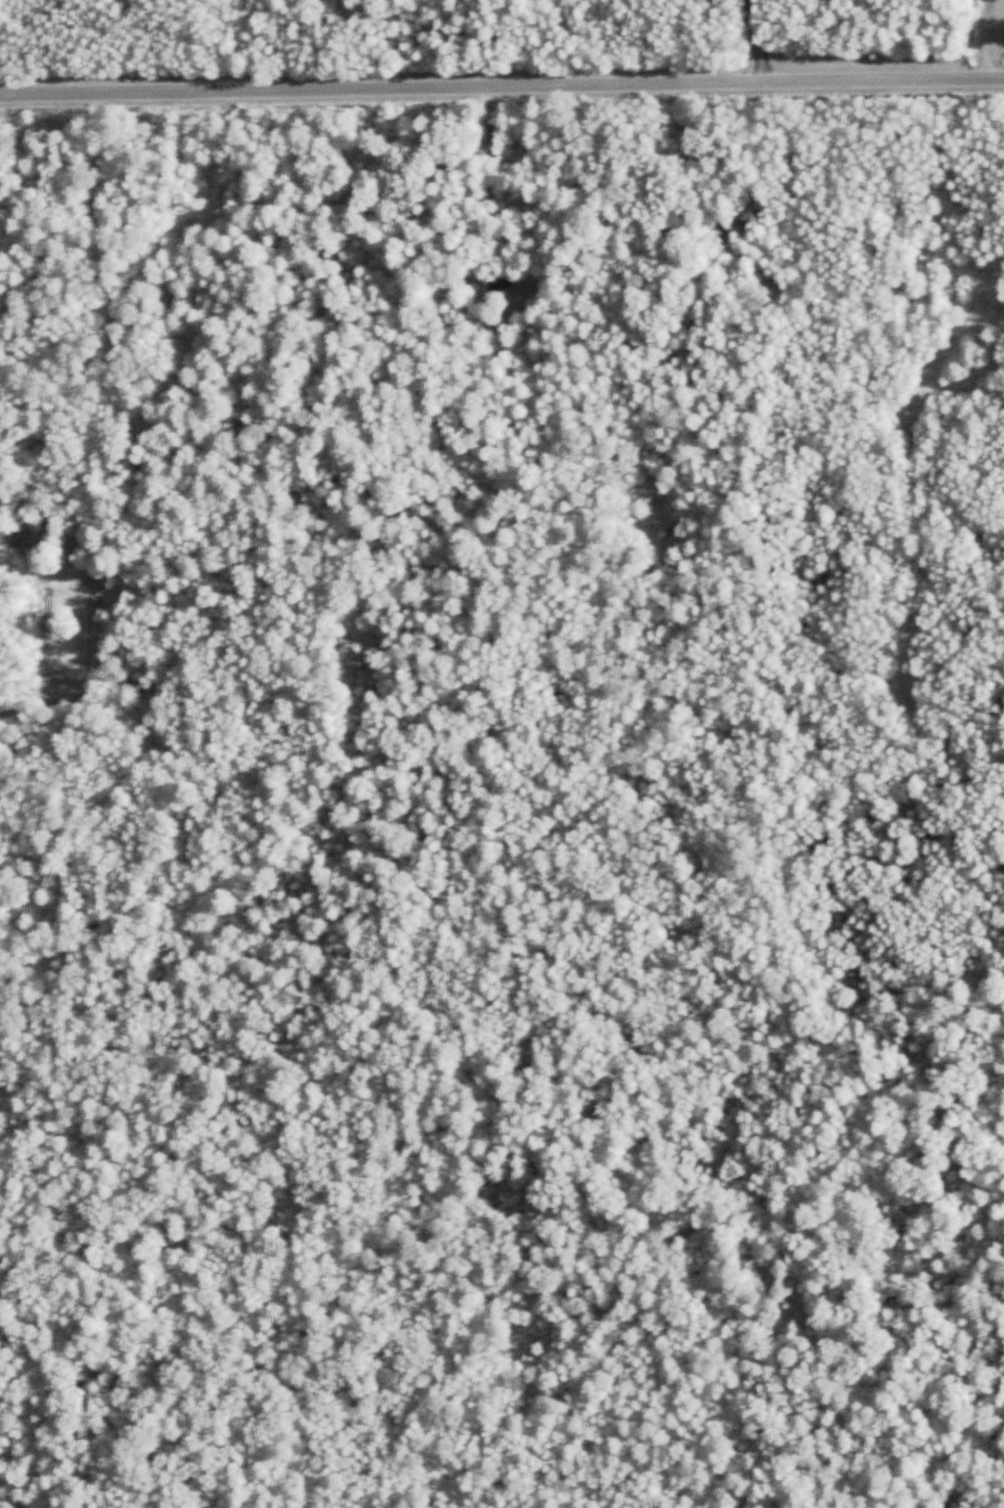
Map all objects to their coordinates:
road: (986, 39)
road: (757, 40)
road: (502, 86)

